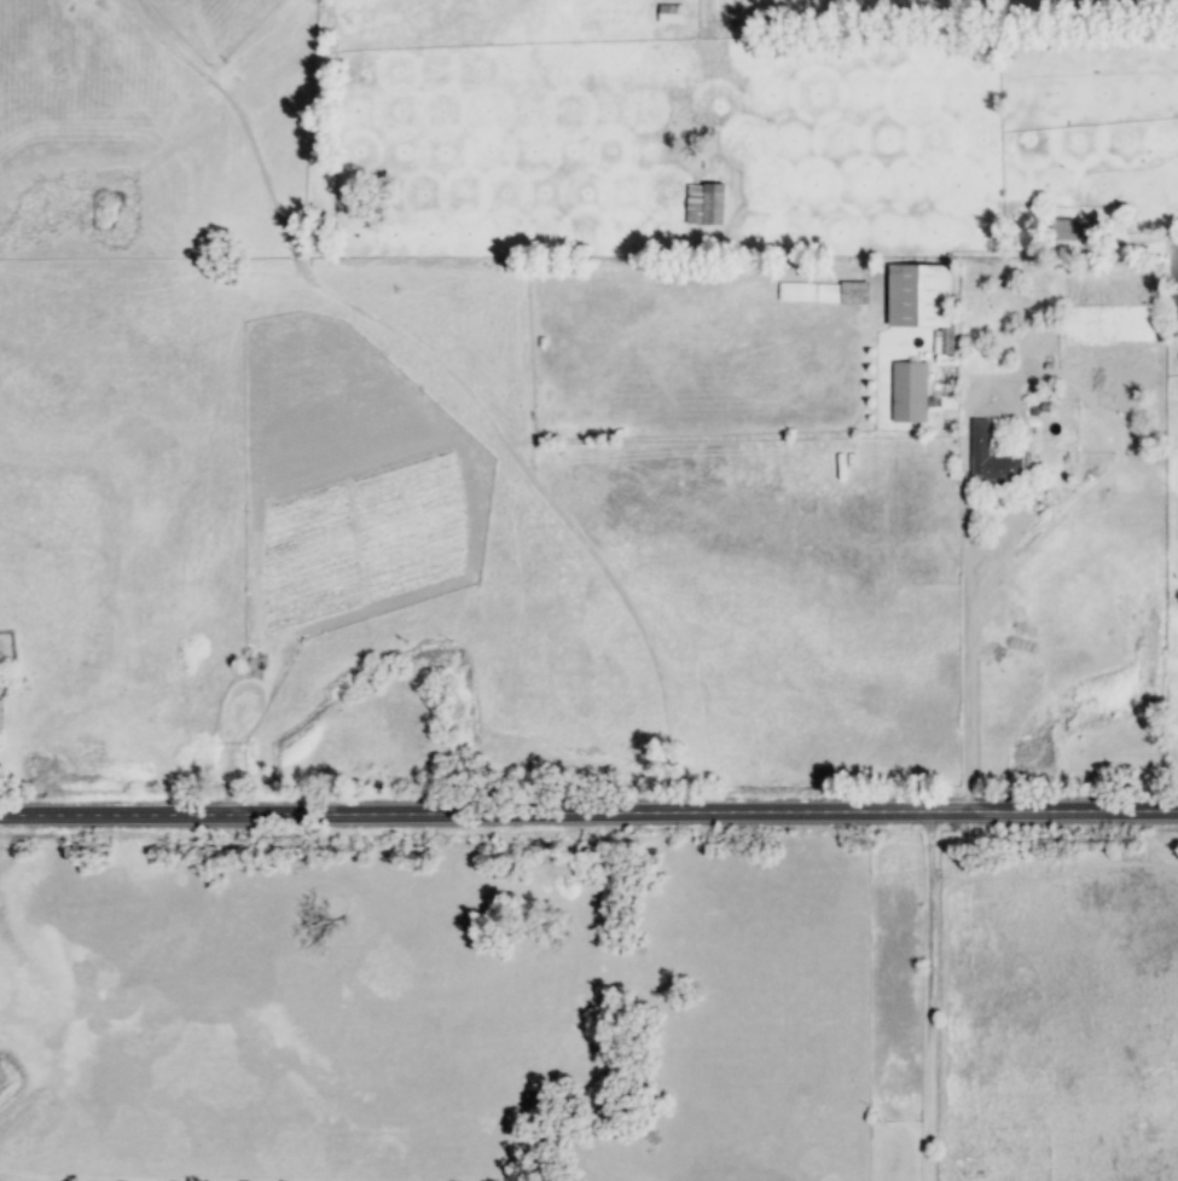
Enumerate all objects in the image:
building: (669, 13)
building: (704, 204)
building: (1068, 231)
building: (807, 291)
building: (853, 293)
building: (921, 302)
building: (907, 393)
building: (979, 436)
building: (254, 666)
road: (962, 685)
road: (588, 812)
road: (930, 930)
road: (928, 1113)

